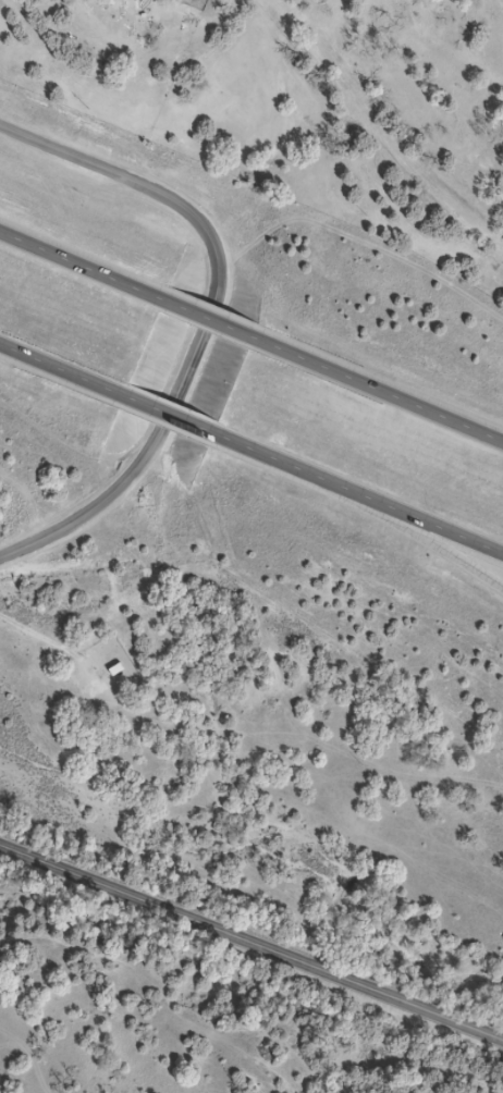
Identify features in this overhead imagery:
road: (82, 261)
road: (208, 315)
road: (208, 320)
road: (60, 370)
road: (378, 386)
road: (171, 415)
road: (278, 457)
road: (418, 516)
road: (416, 537)
road: (251, 942)

